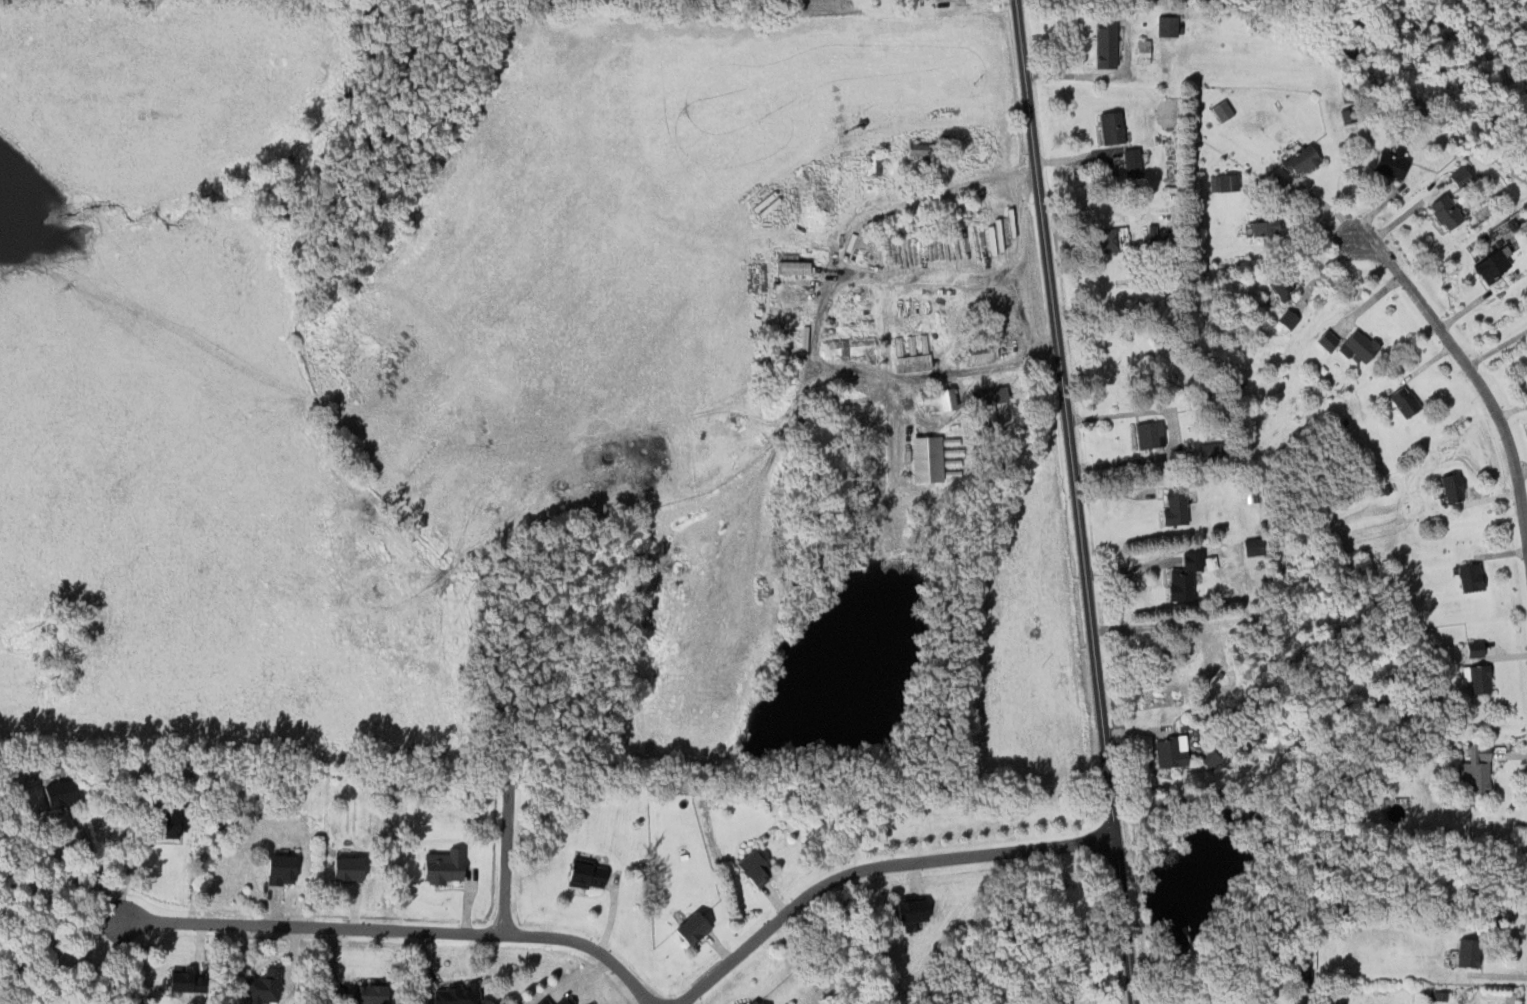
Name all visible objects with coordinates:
building: (1165, 26)
building: (1105, 42)
building: (1141, 51)
road: (1078, 75)
building: (1220, 110)
building: (1346, 116)
building: (1110, 127)
building: (923, 153)
building: (1299, 160)
building: (1130, 162)
building: (871, 163)
building: (1389, 163)
building: (1459, 176)
building: (1222, 183)
road: (917, 196)
building: (1444, 212)
building: (1518, 222)
building: (1262, 227)
building: (1108, 240)
building: (789, 265)
building: (1491, 266)
road: (935, 268)
building: (1281, 285)
building: (1288, 319)
building: (1325, 340)
building: (847, 346)
building: (1357, 346)
building: (980, 351)
building: (910, 362)
building: (1526, 363)
road: (1472, 372)
building: (827, 395)
building: (937, 400)
building: (986, 400)
building: (1403, 401)
road: (1172, 431)
building: (1148, 434)
building: (927, 459)
building: (1451, 487)
road: (1078, 501)
building: (1173, 508)
building: (1252, 546)
building: (1182, 577)
building: (1469, 577)
building: (1473, 649)
building: (1476, 678)
building: (1169, 751)
building: (1209, 759)
building: (1477, 770)
building: (57, 793)
building: (172, 821)
road: (505, 856)
road: (96, 864)
road: (874, 864)
building: (442, 866)
building: (754, 867)
building: (279, 870)
building: (345, 870)
road: (128, 871)
building: (584, 875)
building: (910, 911)
road: (397, 928)
building: (690, 929)
building: (1466, 953)
road: (89, 954)
building: (183, 981)
building: (1300, 985)
building: (261, 987)
building: (365, 994)
building: (454, 995)
building: (542, 1001)
building: (561, 1001)
building: (750, 1002)
building: (753, 1002)

